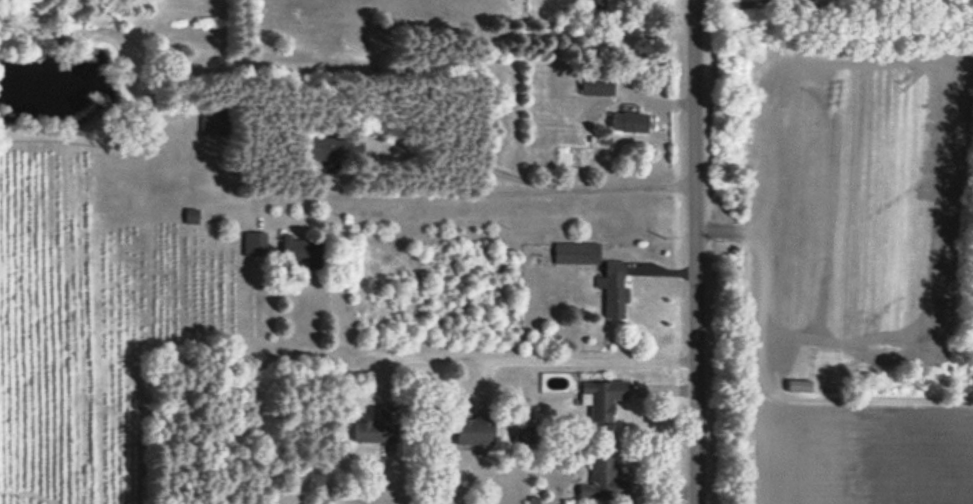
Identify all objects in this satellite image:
building: (593, 3)
building: (597, 84)
building: (213, 119)
building: (628, 121)
building: (335, 147)
road: (530, 181)
road: (395, 194)
building: (191, 215)
building: (254, 243)
building: (299, 250)
road: (697, 251)
building: (576, 252)
building: (613, 289)
road: (524, 359)
building: (602, 398)
building: (376, 427)
building: (473, 430)
building: (602, 480)

